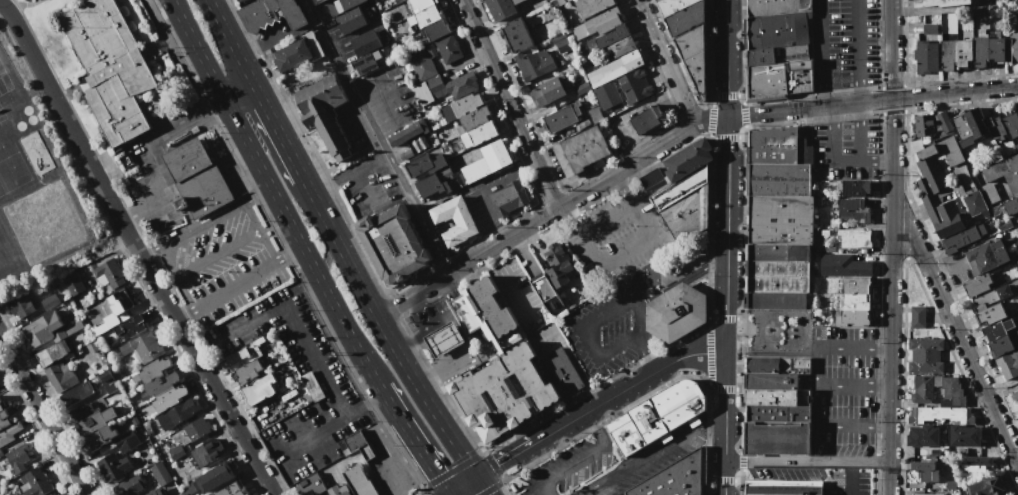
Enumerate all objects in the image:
building: (657, 0)
building: (27, 1)
building: (320, 1)
building: (398, 1)
building: (1016, 1)
building: (992, 2)
building: (937, 3)
building: (421, 4)
building: (340, 5)
building: (672, 5)
building: (592, 6)
building: (776, 6)
building: (501, 7)
building: (273, 14)
building: (428, 14)
building: (685, 18)
building: (350, 20)
building: (604, 21)
building: (930, 28)
building: (435, 29)
building: (778, 30)
building: (516, 35)
building: (607, 38)
road: (276, 39)
building: (560, 40)
road: (230, 42)
building: (365, 42)
building: (622, 46)
building: (448, 48)
building: (1012, 48)
building: (430, 49)
road: (891, 49)
building: (996, 49)
road: (197, 50)
building: (297, 51)
road: (859, 51)
building: (964, 52)
building: (980, 52)
building: (138, 53)
road: (819, 53)
building: (948, 54)
building: (925, 56)
building: (694, 57)
road: (727, 57)
building: (761, 57)
road: (668, 61)
building: (365, 63)
building: (534, 64)
building: (422, 65)
building: (108, 67)
building: (612, 76)
building: (798, 77)
building: (89, 80)
building: (766, 81)
building: (462, 83)
building: (435, 85)
building: (634, 86)
building: (581, 89)
building: (549, 90)
road: (239, 93)
building: (423, 93)
road: (395, 94)
road: (918, 96)
road: (509, 104)
building: (462, 107)
building: (324, 111)
road: (774, 111)
building: (594, 115)
building: (561, 117)
building: (475, 118)
building: (647, 119)
road: (712, 119)
road: (187, 121)
building: (944, 122)
building: (977, 122)
building: (989, 122)
building: (1011, 124)
building: (923, 125)
building: (997, 128)
building: (962, 130)
road: (277, 132)
building: (408, 132)
road: (861, 132)
road: (830, 133)
building: (478, 134)
road: (375, 136)
building: (773, 145)
building: (582, 150)
building: (943, 151)
building: (502, 152)
building: (405, 153)
building: (187, 158)
building: (688, 159)
road: (860, 161)
building: (437, 162)
road: (891, 164)
building: (419, 165)
building: (479, 167)
road: (347, 172)
building: (1004, 172)
building: (651, 177)
building: (778, 179)
building: (431, 185)
building: (654, 187)
building: (680, 187)
building: (855, 188)
building: (205, 189)
road: (362, 189)
road: (259, 195)
building: (970, 196)
building: (508, 198)
building: (1011, 206)
building: (852, 209)
building: (686, 214)
building: (779, 219)
building: (454, 220)
road: (536, 220)
road: (203, 223)
building: (981, 229)
road: (262, 230)
road: (728, 234)
building: (853, 237)
building: (960, 237)
road: (301, 245)
building: (393, 245)
road: (340, 247)
road: (135, 250)
road: (148, 251)
road: (591, 252)
building: (767, 252)
building: (797, 252)
road: (290, 253)
road: (219, 254)
building: (987, 256)
road: (952, 262)
building: (1017, 262)
building: (557, 265)
building: (843, 265)
building: (108, 274)
building: (777, 276)
road: (175, 278)
building: (72, 282)
road: (236, 285)
building: (855, 285)
building: (977, 285)
building: (544, 288)
building: (991, 295)
building: (776, 299)
building: (856, 301)
building: (48, 302)
road: (616, 302)
building: (553, 304)
building: (20, 306)
building: (492, 307)
building: (980, 307)
building: (116, 309)
building: (967, 311)
building: (675, 312)
building: (464, 313)
building: (991, 314)
road: (184, 315)
building: (918, 317)
building: (853, 318)
building: (132, 325)
building: (42, 327)
building: (73, 327)
park: (777, 329)
building: (996, 329)
building: (1013, 336)
building: (443, 339)
road: (306, 340)
road: (961, 344)
road: (890, 345)
building: (1000, 346)
building: (143, 347)
road: (853, 348)
building: (245, 352)
road: (646, 352)
building: (51, 353)
road: (573, 359)
building: (267, 362)
building: (762, 364)
building: (794, 364)
building: (1008, 364)
building: (925, 367)
building: (247, 371)
building: (562, 372)
building: (60, 376)
building: (94, 379)
building: (108, 381)
building: (159, 383)
road: (853, 386)
building: (311, 387)
road: (816, 387)
building: (259, 389)
building: (503, 392)
building: (76, 393)
building: (1014, 396)
building: (777, 397)
road: (424, 398)
road: (598, 403)
building: (2, 405)
road: (725, 406)
building: (178, 413)
building: (658, 414)
building: (945, 414)
building: (912, 416)
road: (43, 417)
building: (3, 419)
road: (342, 420)
road: (712, 421)
road: (853, 427)
building: (96, 429)
road: (595, 429)
building: (9, 432)
building: (922, 435)
building: (963, 436)
building: (186, 437)
building: (776, 439)
building: (126, 441)
road: (413, 441)
building: (356, 445)
road: (382, 451)
building: (206, 452)
building: (17, 457)
road: (638, 459)
building: (979, 460)
road: (806, 461)
building: (922, 465)
building: (113, 467)
road: (572, 467)
building: (976, 468)
building: (160, 473)
building: (927, 475)
traffic signals: (477, 476)
building: (215, 477)
building: (673, 478)
road: (723, 478)
road: (848, 478)
road: (888, 478)
building: (358, 481)
building: (33, 483)
road: (462, 484)
building: (310, 485)
road: (482, 485)
building: (131, 486)
building: (986, 486)
building: (782, 487)
building: (187, 489)
building: (232, 489)
building: (339, 490)
road: (542, 491)
building: (157, 492)
traffic signals: (448, 493)
building: (55, 494)
road: (446, 494)
road: (448, 494)
building: (927, 494)

